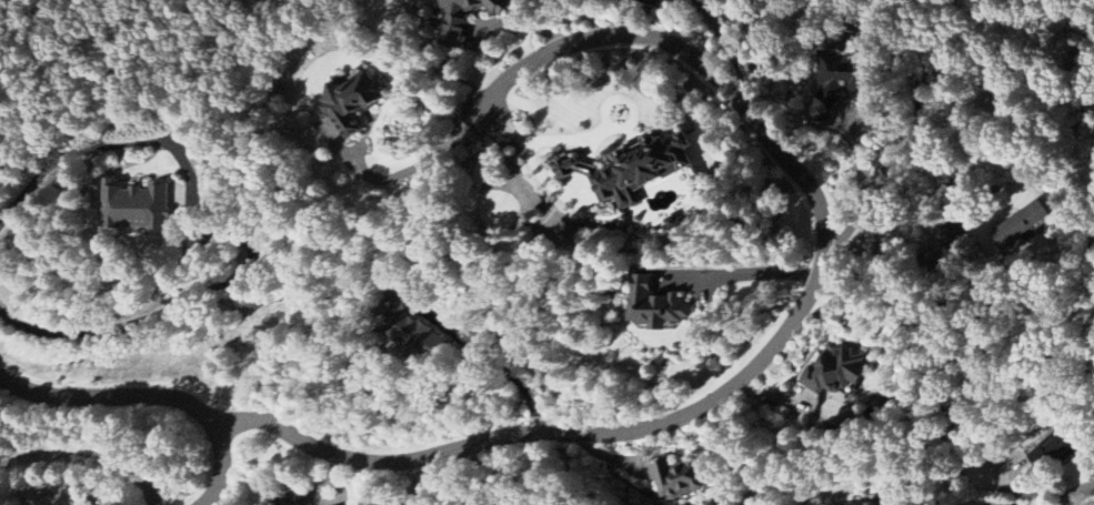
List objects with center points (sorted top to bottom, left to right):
road: (735, 52)
road: (939, 64)
building: (348, 101)
road: (591, 147)
road: (421, 165)
building: (633, 165)
road: (861, 188)
building: (133, 206)
building: (1018, 229)
road: (222, 234)
road: (749, 272)
building: (654, 306)
building: (412, 332)
road: (773, 345)
road: (486, 356)
building: (836, 370)
road: (108, 395)
building: (1056, 446)
road: (86, 458)
road: (217, 466)
building: (678, 478)
road: (1078, 494)
building: (289, 496)
building: (891, 504)

